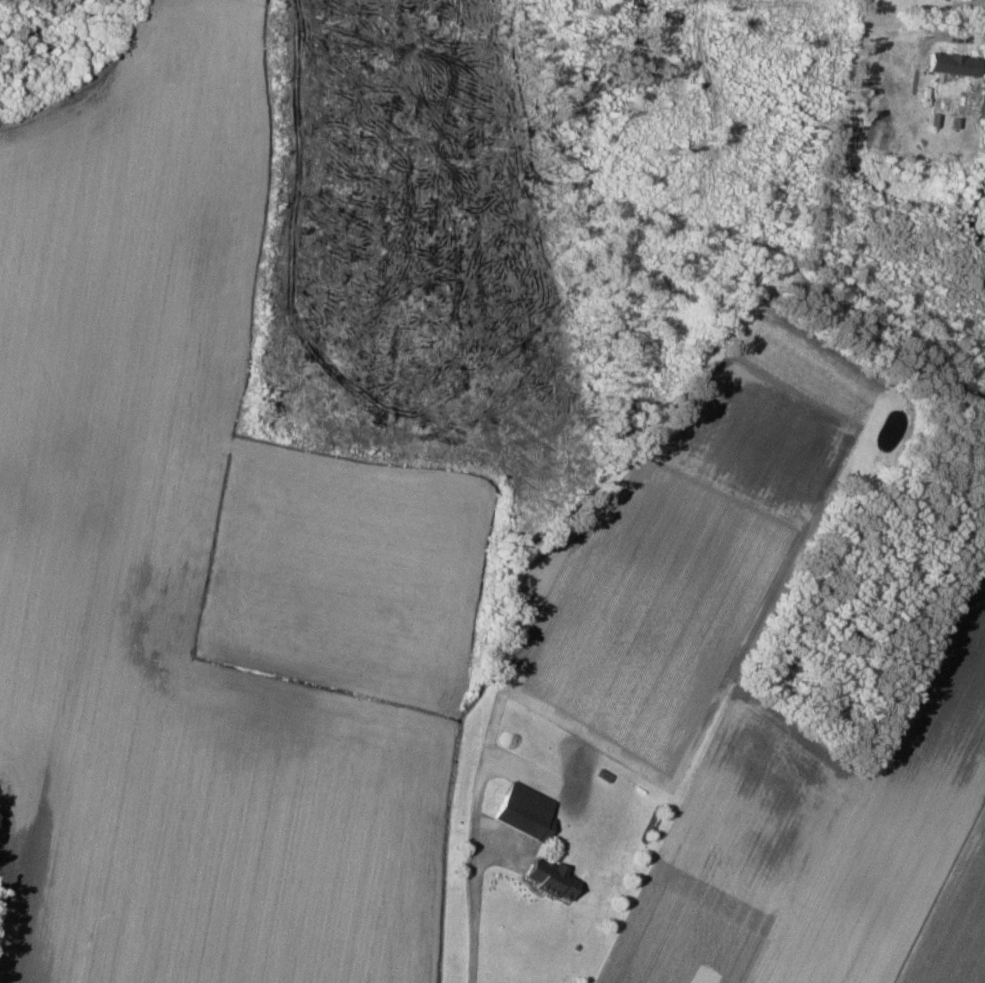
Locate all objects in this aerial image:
road: (951, 8)
building: (955, 63)
building: (527, 812)
building: (553, 880)
road: (474, 915)

